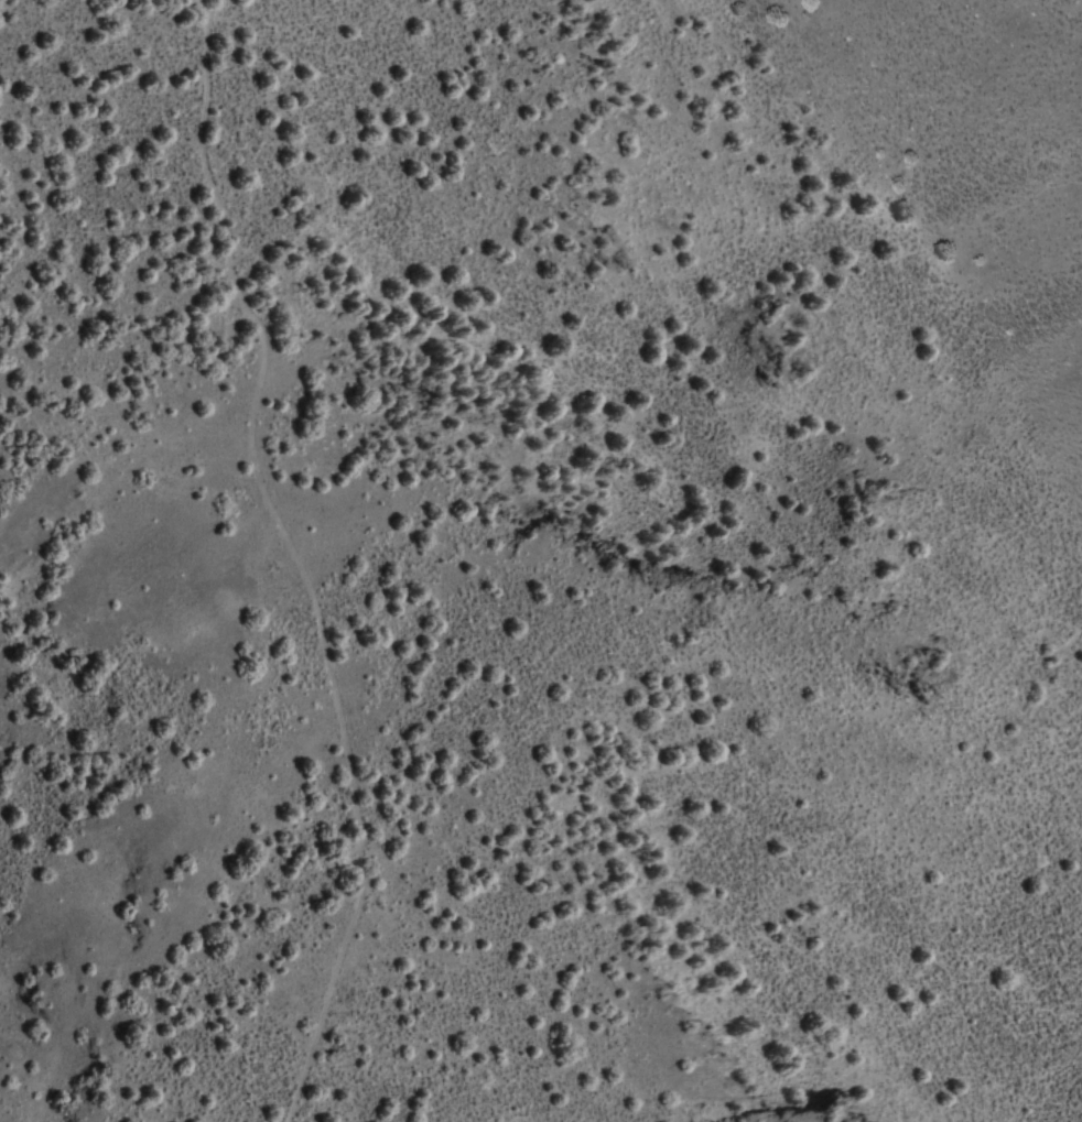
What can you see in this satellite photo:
road: (348, 568)

